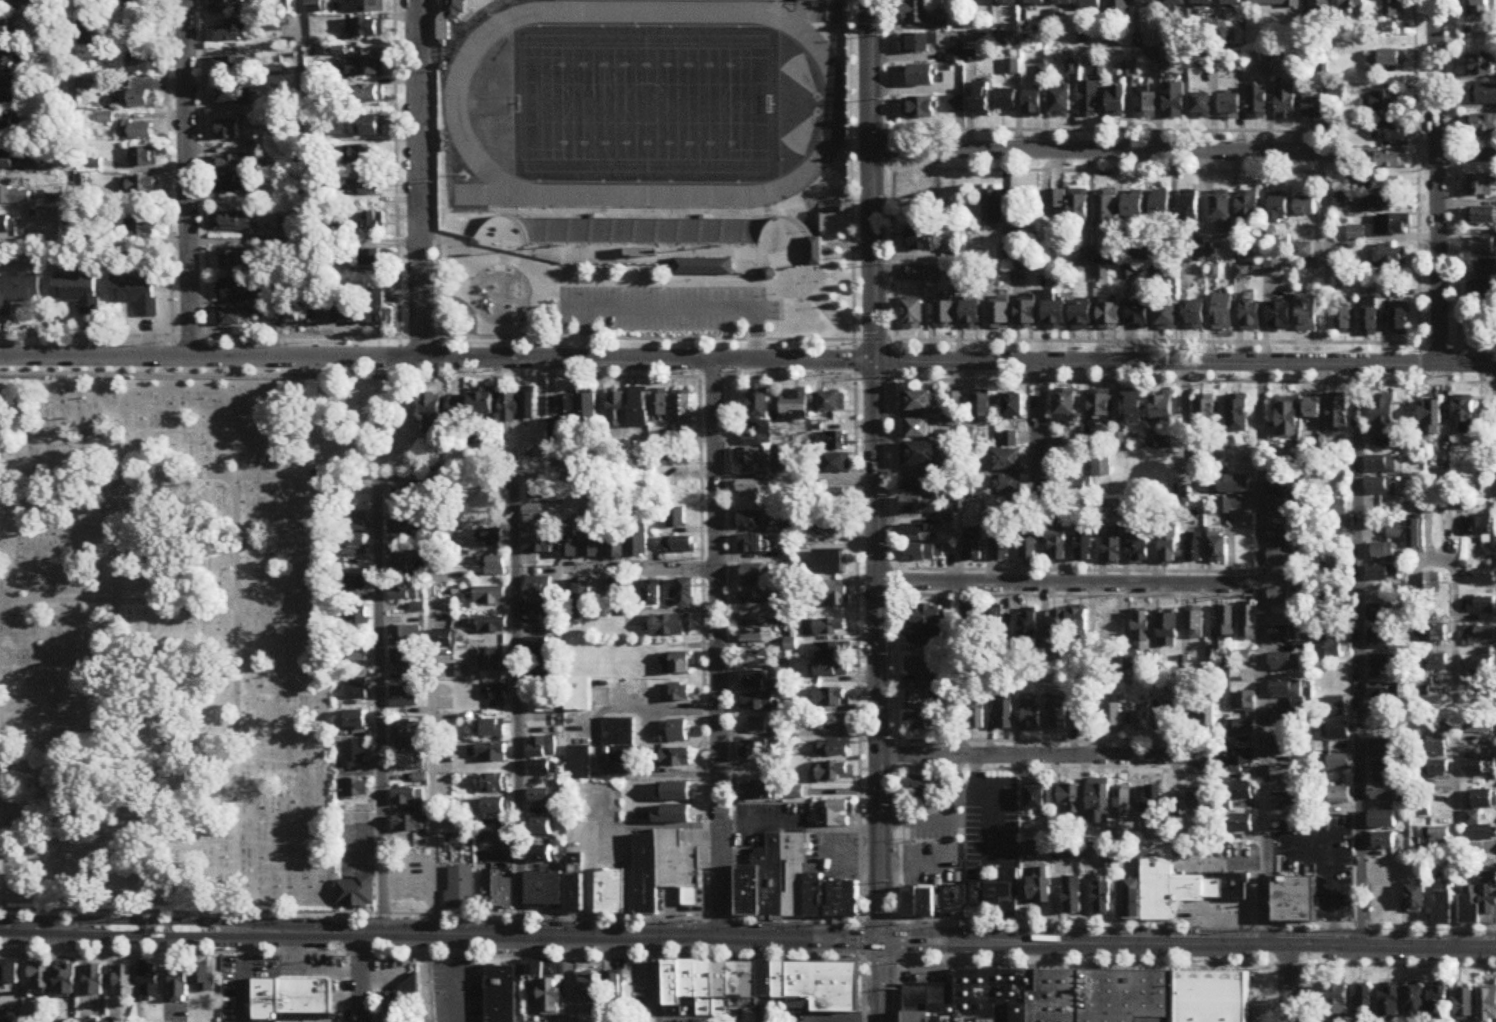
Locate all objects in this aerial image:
building: (142, 0)
building: (814, 0)
building: (233, 2)
building: (1009, 2)
building: (1037, 2)
building: (1148, 2)
building: (1065, 3)
building: (1204, 3)
building: (1233, 3)
building: (1275, 3)
building: (8, 4)
building: (1176, 4)
building: (1352, 5)
building: (372, 6)
building: (314, 7)
building: (1093, 7)
building: (1120, 8)
building: (1320, 8)
building: (1480, 8)
building: (1391, 9)
building: (917, 13)
building: (451, 18)
building: (365, 27)
building: (5, 30)
building: (233, 33)
building: (87, 34)
building: (920, 44)
building: (956, 53)
building: (1385, 60)
building: (8, 63)
building: (142, 64)
building: (1481, 65)
building: (232, 66)
building: (366, 67)
building: (922, 76)
road: (302, 81)
building: (234, 94)
building: (370, 94)
building: (1484, 95)
building: (14, 97)
track: (456, 98)
building: (139, 99)
building: (1008, 100)
building: (1090, 100)
building: (1175, 100)
building: (982, 102)
building: (1118, 102)
building: (1258, 102)
building: (1286, 102)
building: (959, 103)
building: (1062, 103)
building: (1386, 103)
park: (635, 104)
building: (1034, 104)
building: (1147, 105)
building: (1202, 106)
building: (1231, 106)
building: (1314, 108)
building: (920, 109)
building: (7, 123)
building: (368, 126)
building: (1482, 126)
building: (138, 131)
building: (228, 131)
building: (1393, 132)
road: (1102, 152)
building: (363, 155)
road: (1467, 156)
building: (1339, 157)
building: (146, 158)
building: (1391, 160)
building: (8, 161)
road: (435, 169)
building: (235, 174)
road: (421, 179)
road: (189, 180)
park: (647, 180)
road: (1438, 182)
building: (144, 185)
building: (1382, 186)
building: (1481, 186)
building: (365, 187)
building: (16, 195)
building: (1058, 199)
building: (925, 202)
building: (1342, 202)
building: (1379, 204)
building: (1248, 205)
building: (1079, 206)
building: (1161, 206)
building: (1106, 207)
building: (1135, 207)
building: (1306, 207)
building: (1190, 208)
building: (1222, 209)
building: (995, 210)
building: (1279, 211)
building: (1482, 217)
road: (1329, 222)
building: (239, 223)
building: (371, 224)
building: (7, 226)
building: (1393, 226)
building: (147, 228)
building: (1356, 235)
building: (761, 241)
building: (925, 241)
building: (1484, 247)
building: (1307, 257)
building: (1390, 259)
building: (373, 260)
building: (232, 262)
building: (1485, 268)
building: (1274, 270)
building: (964, 273)
building: (1242, 273)
building: (924, 274)
building: (1190, 274)
building: (238, 290)
building: (1484, 290)
building: (18, 293)
building: (78, 293)
building: (137, 295)
park: (639, 296)
parking lot: (668, 307)
building: (313, 308)
road: (468, 308)
road: (671, 308)
building: (377, 309)
building: (1055, 313)
building: (1223, 313)
building: (1308, 313)
building: (291, 314)
building: (346, 314)
building: (1139, 315)
building: (1251, 315)
building: (1279, 315)
building: (914, 316)
building: (945, 316)
building: (1027, 316)
building: (1195, 316)
building: (235, 317)
building: (972, 317)
building: (1001, 317)
building: (1167, 317)
building: (1082, 318)
building: (1110, 318)
building: (1345, 320)
building: (1400, 321)
building: (1371, 323)
road: (530, 327)
road: (505, 339)
road: (437, 359)
road: (1185, 365)
building: (917, 402)
building: (830, 403)
building: (661, 404)
building: (795, 404)
building: (760, 405)
building: (482, 406)
building: (684, 406)
building: (1065, 406)
building: (529, 407)
building: (640, 407)
building: (981, 407)
building: (1013, 407)
building: (1099, 407)
building: (1162, 407)
building: (568, 408)
building: (617, 408)
building: (456, 409)
building: (510, 409)
building: (588, 409)
building: (1132, 409)
building: (1313, 409)
building: (430, 411)
building: (1206, 413)
building: (1465, 413)
building: (1384, 414)
building: (1339, 415)
building: (1239, 417)
building: (1432, 418)
building: (954, 420)
road: (1187, 420)
building: (1288, 421)
road: (1040, 423)
building: (917, 429)
building: (1011, 440)
building: (836, 441)
building: (753, 450)
building: (920, 455)
building: (781, 460)
building: (677, 461)
building: (1006, 461)
building: (439, 464)
building: (837, 464)
building: (1102, 465)
building: (1386, 466)
road: (876, 470)
building: (321, 474)
road: (266, 475)
road: (476, 478)
building: (1008, 486)
building: (1236, 486)
building: (1383, 486)
building: (1075, 487)
building: (754, 488)
building: (539, 491)
building: (410, 494)
building: (339, 495)
building: (1286, 498)
building: (836, 499)
building: (922, 506)
building: (1233, 507)
building: (1338, 510)
building: (536, 519)
building: (677, 519)
building: (753, 520)
building: (354, 523)
building: (834, 523)
building: (948, 524)
building: (1478, 527)
building: (400, 531)
building: (1397, 531)
building: (918, 534)
building: (1286, 534)
building: (1416, 534)
building: (488, 540)
building: (571, 543)
building: (1084, 543)
building: (640, 544)
building: (1059, 544)
building: (1139, 544)
building: (753, 545)
building: (974, 545)
building: (1169, 545)
building: (354, 546)
building: (539, 546)
building: (1002, 546)
building: (1219, 546)
building: (594, 548)
building: (679, 548)
building: (616, 549)
building: (1195, 549)
building: (1030, 550)
building: (1382, 551)
building: (924, 554)
building: (1286, 558)
building: (830, 562)
building: (399, 565)
building: (493, 567)
building: (1337, 567)
road: (643, 571)
building: (757, 573)
building: (1385, 574)
building: (357, 581)
building: (1482, 581)
road: (1072, 587)
building: (1431, 587)
building: (537, 588)
building: (1402, 591)
building: (401, 592)
building: (759, 592)
building: (582, 593)
building: (686, 593)
building: (616, 594)
building: (652, 596)
building: (490, 597)
building: (1285, 597)
building: (1333, 598)
building: (830, 599)
road: (118, 601)
building: (1481, 605)
building: (760, 613)
road: (116, 614)
building: (538, 614)
building: (1382, 614)
road: (238, 615)
building: (928, 615)
building: (358, 618)
building: (572, 619)
building: (975, 621)
building: (1226, 622)
building: (1249, 624)
building: (1078, 625)
building: (1195, 625)
building: (995, 626)
building: (490, 627)
building: (669, 627)
building: (824, 628)
building: (1029, 628)
building: (1142, 628)
building: (1056, 629)
building: (1113, 629)
park: (175, 632)
building: (1169, 632)
building: (757, 635)
building: (1286, 635)
building: (1432, 635)
building: (401, 636)
building: (1479, 636)
building: (925, 638)
building: (444, 640)
building: (1381, 640)
building: (1330, 644)
building: (790, 645)
building: (536, 649)
building: (357, 651)
road: (718, 651)
road: (1265, 656)
road: (1359, 656)
building: (1244, 658)
building: (831, 660)
building: (402, 661)
building: (493, 661)
building: (1287, 663)
building: (1430, 663)
building: (675, 664)
building: (1383, 664)
road: (380, 665)
building: (919, 667)
building: (1483, 667)
building: (543, 674)
building: (947, 675)
road: (518, 681)
building: (757, 681)
building: (1335, 686)
building: (358, 690)
building: (1288, 691)
building: (1384, 694)
building: (676, 695)
building: (404, 697)
building: (582, 697)
building: (498, 698)
building: (830, 698)
building: (923, 700)
building: (757, 703)
building: (1244, 703)
building: (543, 705)
building: (794, 706)
building: (1336, 709)
building: (1115, 713)
building: (1207, 713)
building: (1059, 715)
building: (976, 716)
building: (1004, 716)
building: (1030, 716)
building: (1171, 716)
building: (1142, 718)
building: (1288, 718)
building: (356, 721)
building: (921, 723)
building: (1087, 723)
building: (831, 724)
building: (757, 727)
building: (1479, 727)
building: (493, 730)
building: (1242, 730)
building: (407, 732)
building: (619, 734)
building: (675, 734)
building: (1338, 734)
road: (593, 736)
road: (431, 746)
building: (1436, 748)
building: (542, 749)
building: (832, 750)
building: (1288, 750)
building: (1384, 750)
building: (355, 754)
building: (755, 754)
building: (487, 755)
road: (1455, 755)
road: (1046, 758)
building: (673, 759)
building: (1242, 762)
building: (409, 763)
building: (579, 764)
building: (1337, 764)
building: (1479, 769)
building: (544, 770)
building: (1435, 770)
building: (834, 773)
building: (1383, 774)
building: (1289, 775)
building: (494, 785)
building: (355, 790)
building: (757, 793)
building: (1244, 793)
building: (678, 794)
building: (794, 794)
building: (1384, 795)
building: (1336, 797)
building: (934, 798)
building: (1070, 798)
building: (1036, 799)
building: (409, 800)
building: (547, 800)
building: (1484, 800)
road: (992, 802)
building: (1201, 803)
building: (1291, 803)
building: (1124, 804)
building: (1099, 806)
building: (1157, 807)
building: (494, 808)
building: (1420, 809)
building: (830, 815)
building: (675, 816)
building: (1383, 821)
road: (597, 822)
building: (410, 825)
building: (1243, 825)
building: (542, 828)
road: (801, 829)
building: (1475, 829)
building: (1429, 840)
building: (1387, 843)
building: (542, 855)
building: (665, 872)
road: (1333, 875)
road: (521, 877)
road: (627, 880)
building: (575, 885)
building: (791, 886)
building: (460, 890)
building: (546, 890)
building: (1175, 890)
building: (356, 891)
building: (996, 891)
building: (1040, 891)
road: (383, 892)
building: (503, 893)
building: (609, 893)
building: (1385, 895)
building: (1074, 896)
building: (1104, 899)
building: (1416, 899)
building: (1295, 901)
building: (955, 902)
building: (919, 903)
building: (1478, 906)
building: (1443, 909)
road: (429, 915)
road: (549, 938)
road: (690, 939)
road: (863, 940)
traffic signals: (882, 941)
road: (1297, 946)
road: (434, 956)
road: (339, 967)
road: (360, 979)
road: (427, 979)
road: (458, 979)
building: (205, 980)
road: (570, 980)
road: (660, 980)
building: (40, 981)
building: (66, 981)
road: (882, 981)
building: (94, 982)
building: (123, 982)
building: (10, 983)
building: (150, 983)
road: (1288, 984)
building: (547, 985)
building: (180, 986)
building: (761, 988)
road: (381, 989)
building: (408, 989)
building: (592, 989)
road: (863, 990)
building: (501, 994)
building: (616, 994)
building: (1047, 998)
building: (304, 1000)
building: (1415, 1001)
building: (1337, 1003)
building: (1220, 1004)
building: (1365, 1004)
building: (1390, 1004)
building: (1439, 1004)
building: (1464, 1005)
building: (1488, 1006)
building: (398, 1011)
building: (11, 1019)
building: (89, 1021)

